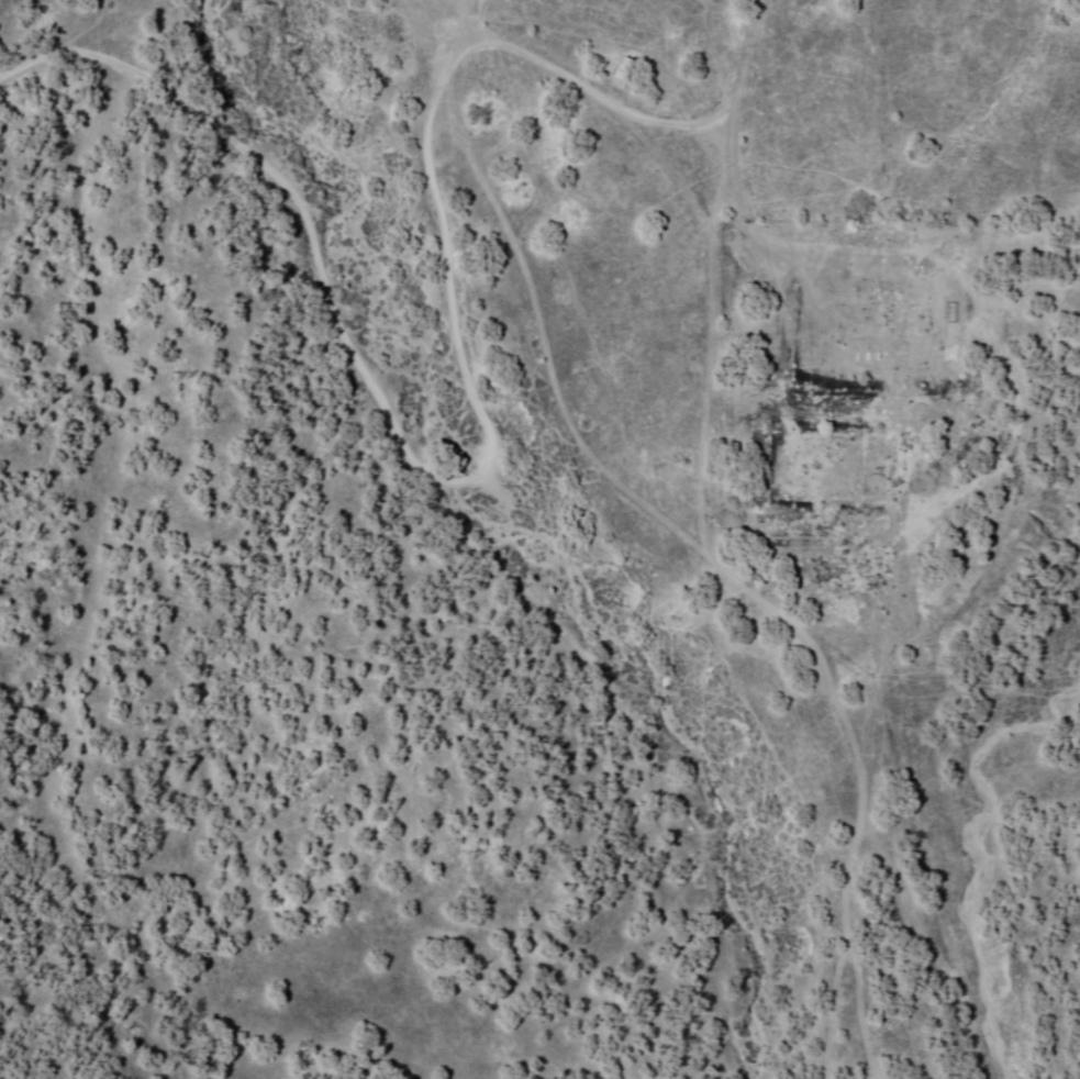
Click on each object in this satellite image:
building: (624, 66)
building: (949, 354)
building: (838, 485)
road: (722, 560)

